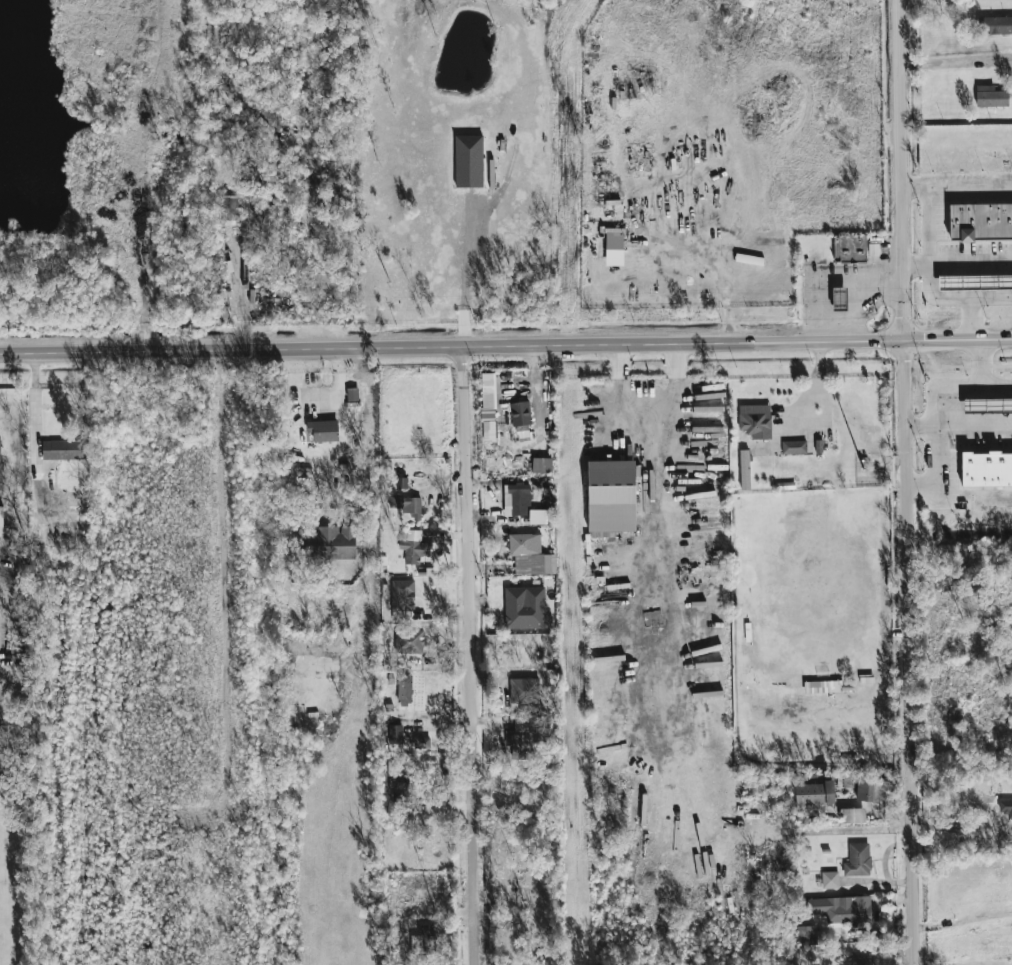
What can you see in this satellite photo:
building: (995, 25)
road: (956, 62)
building: (990, 96)
building: (469, 161)
road: (957, 190)
building: (311, 196)
building: (230, 210)
building: (980, 222)
building: (614, 246)
building: (850, 248)
building: (749, 259)
road: (957, 263)
road: (465, 276)
building: (975, 282)
gas station: (975, 282)
road: (930, 283)
road: (241, 293)
building: (840, 299)
gas station: (840, 299)
road: (972, 317)
traffic signals: (903, 339)
road: (505, 344)
road: (977, 361)
road: (818, 371)
road: (940, 387)
building: (488, 390)
road: (822, 404)
building: (987, 406)
building: (520, 414)
road: (36, 416)
building: (755, 420)
road: (973, 425)
building: (323, 430)
road: (647, 438)
building: (794, 447)
building: (62, 450)
building: (1, 467)
building: (986, 469)
building: (744, 470)
road: (934, 470)
road: (905, 482)
building: (401, 483)
building: (611, 495)
building: (516, 499)
building: (406, 505)
building: (540, 517)
building: (1, 521)
road: (373, 522)
building: (602, 534)
building: (328, 543)
building: (413, 547)
building: (529, 554)
park: (820, 584)
building: (403, 595)
building: (524, 607)
building: (409, 640)
road: (471, 654)
building: (846, 685)
building: (822, 686)
building: (404, 690)
building: (524, 691)
building: (522, 733)
building: (396, 734)
building: (422, 743)
building: (399, 788)
building: (872, 790)
building: (814, 794)
building: (1006, 808)
building: (852, 815)
road: (959, 829)
building: (858, 860)
building: (830, 879)
building: (842, 908)
building: (806, 934)
building: (862, 960)

